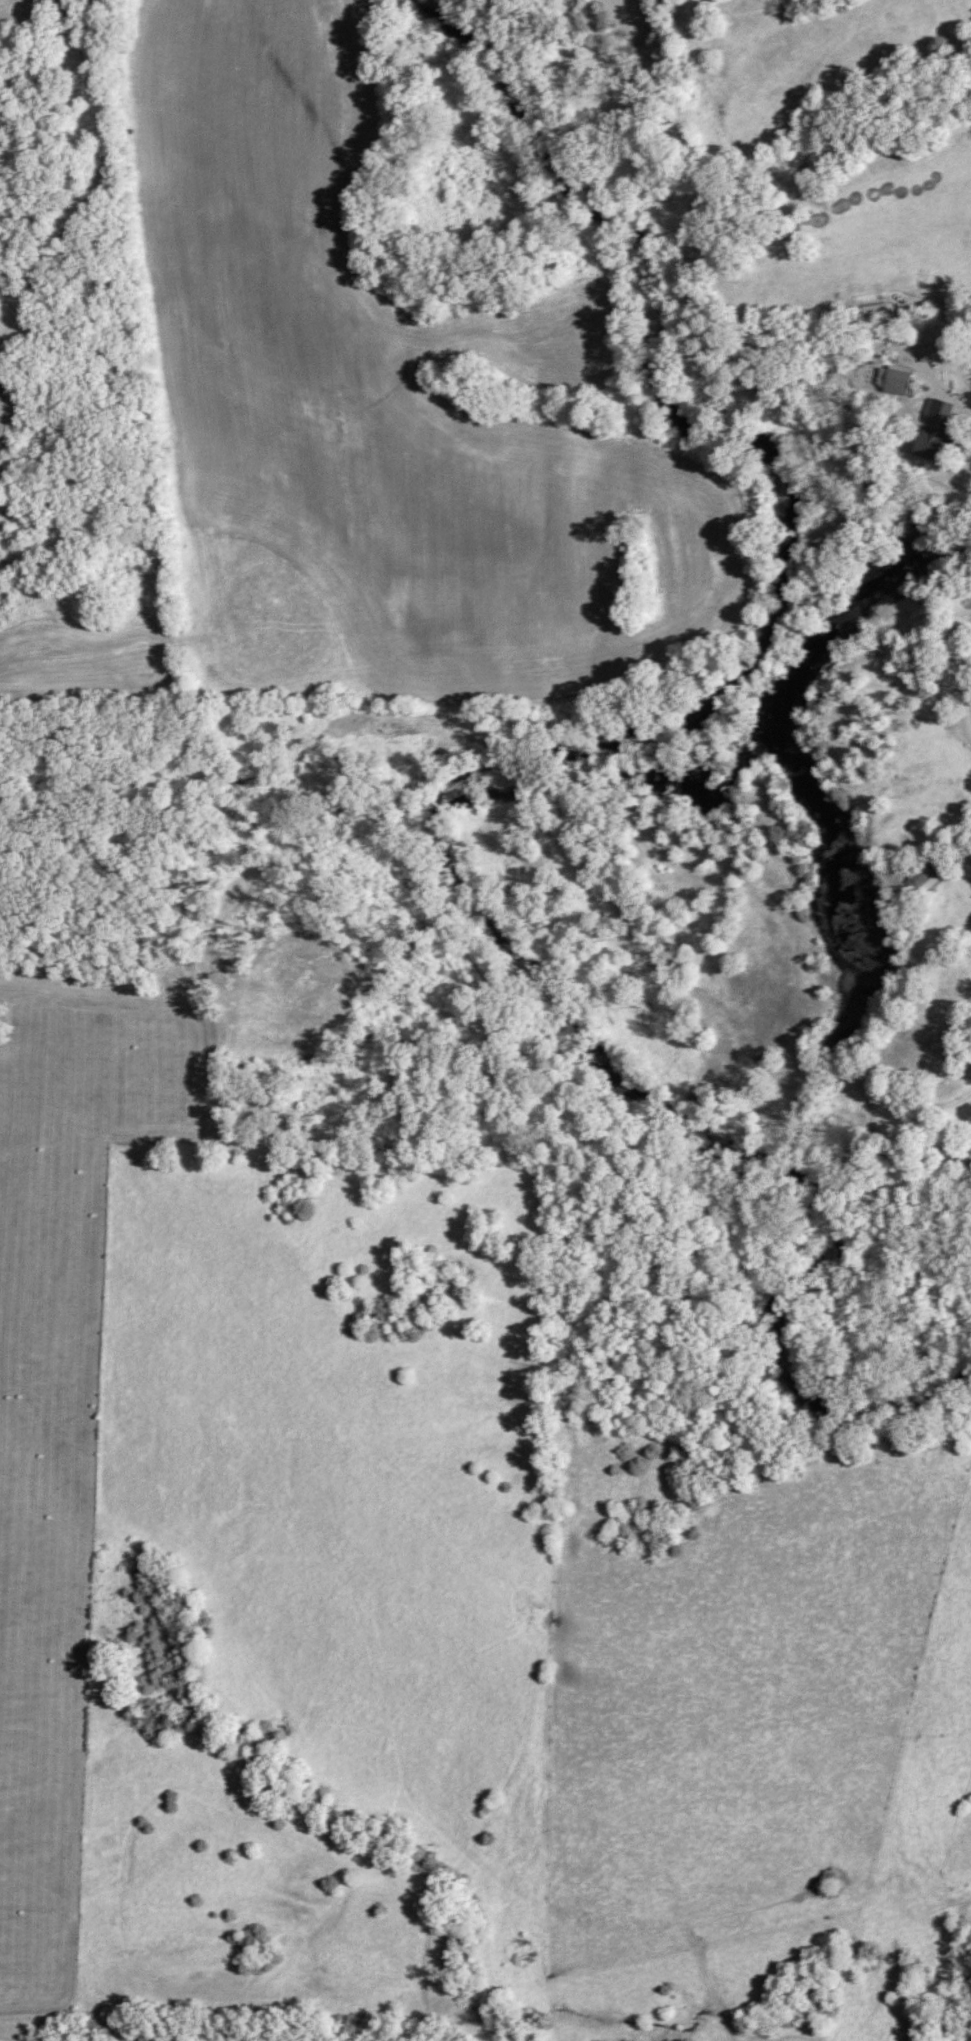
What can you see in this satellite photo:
building: (901, 383)
building: (937, 434)
road: (968, 711)
building: (922, 876)

